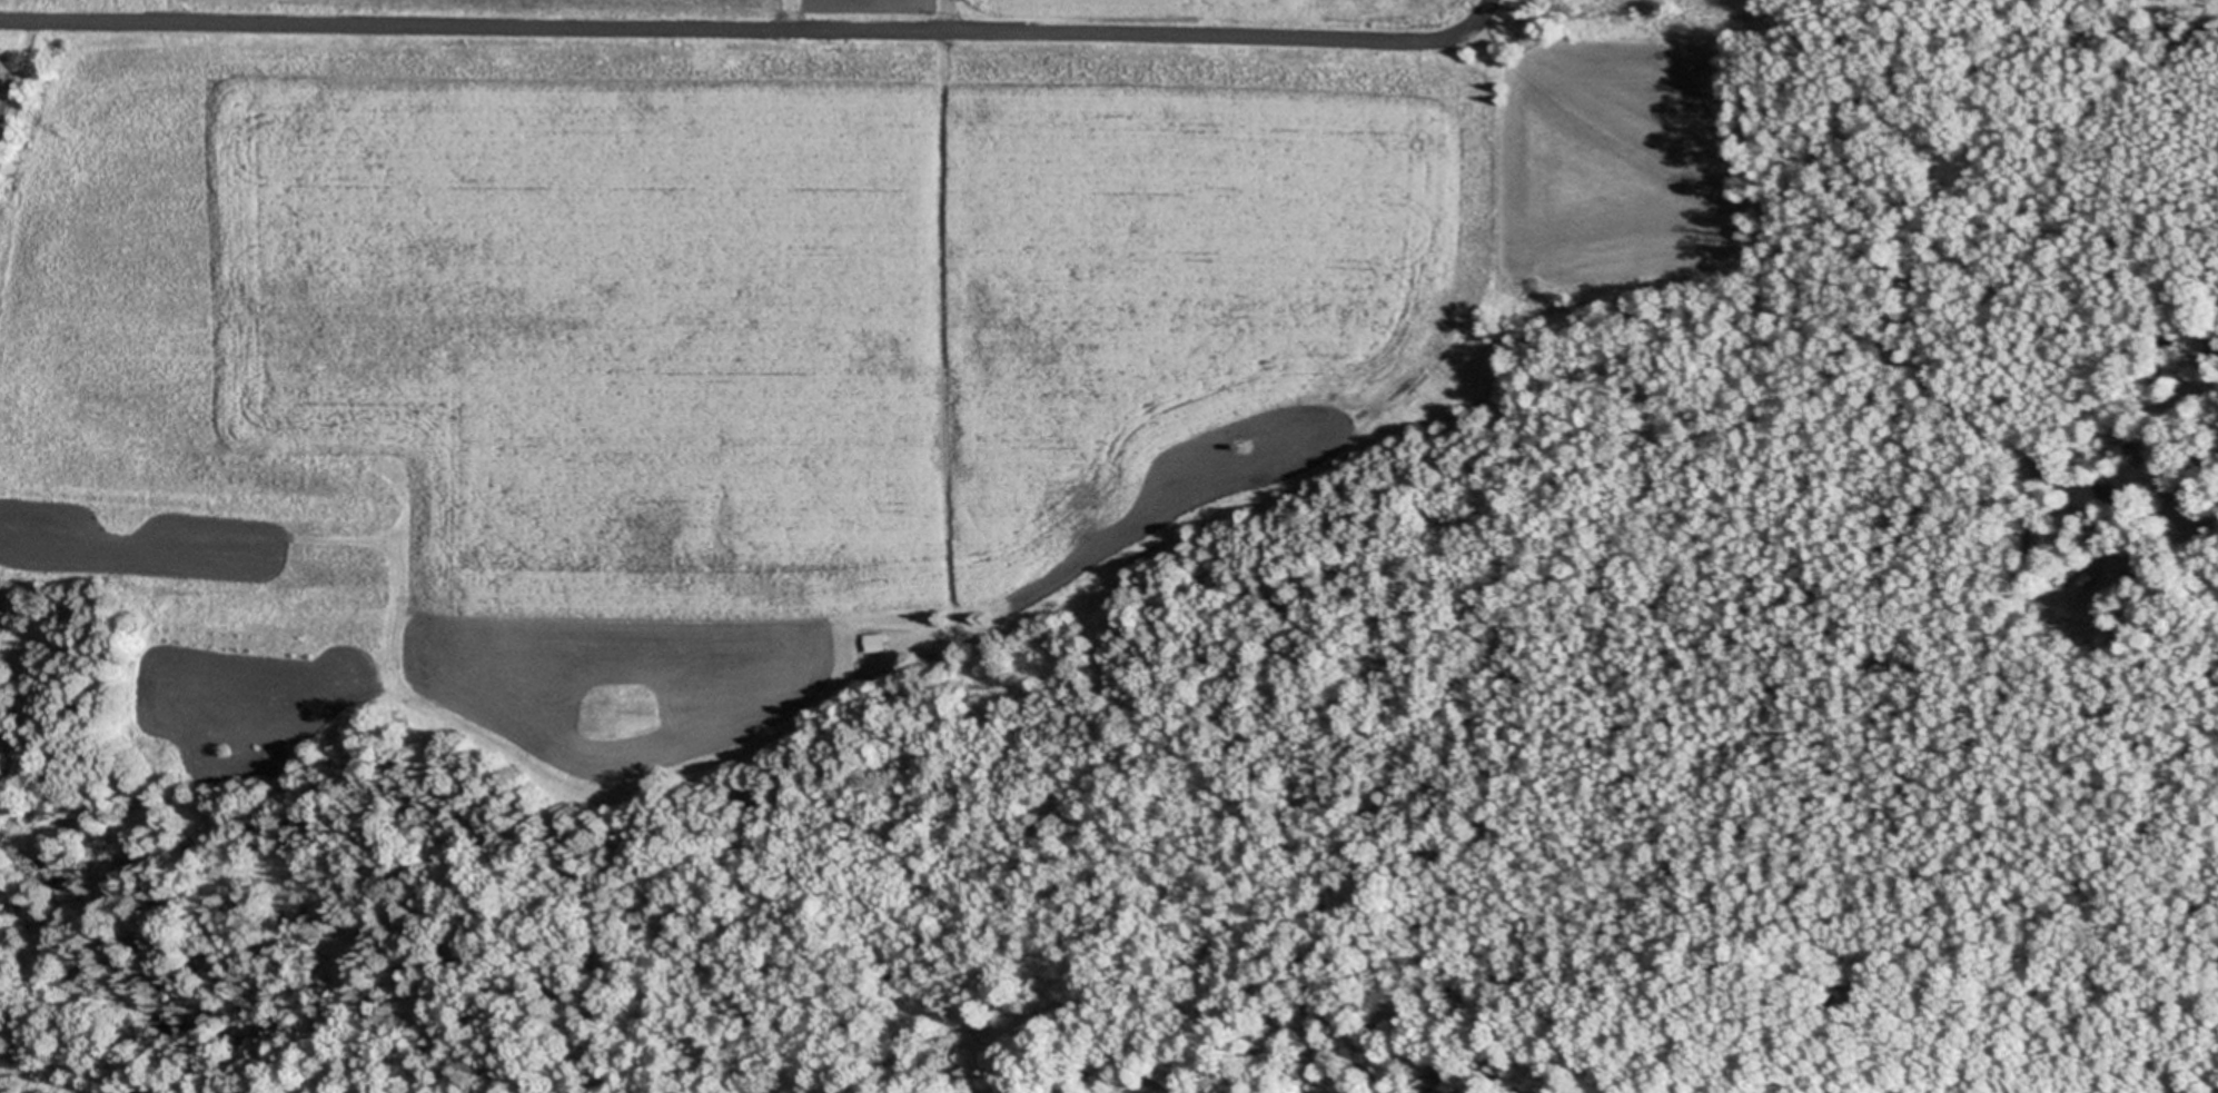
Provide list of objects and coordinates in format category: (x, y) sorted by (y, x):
road: (945, 14)
road: (752, 27)
building: (878, 642)

